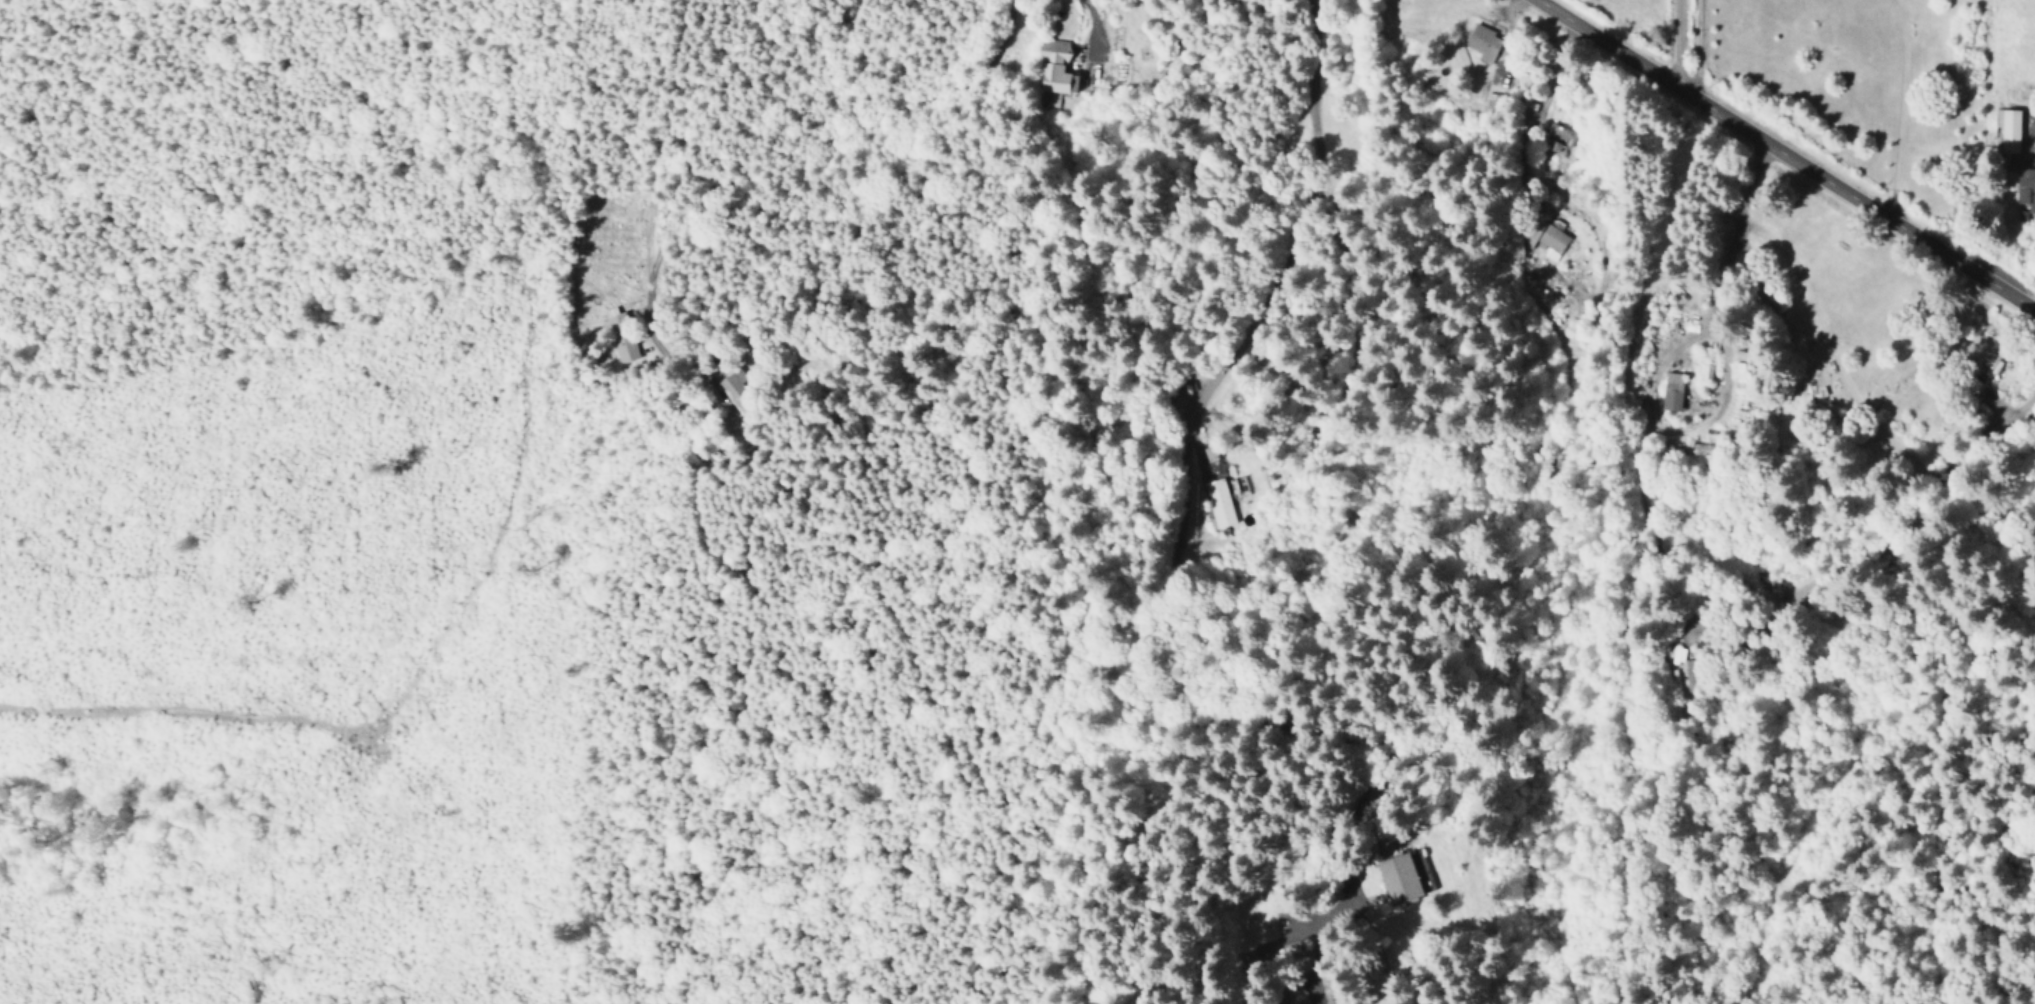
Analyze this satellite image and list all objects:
road: (1094, 28)
building: (1483, 43)
road: (1675, 43)
building: (1056, 72)
building: (1492, 101)
road: (1897, 109)
road: (655, 123)
building: (2008, 128)
building: (1558, 136)
road: (1783, 155)
road: (578, 180)
building: (2025, 187)
building: (1534, 229)
building: (1552, 241)
building: (625, 349)
building: (1672, 390)
building: (1218, 503)
road: (1158, 511)
building: (1677, 654)
building: (1421, 870)
building: (1397, 872)

